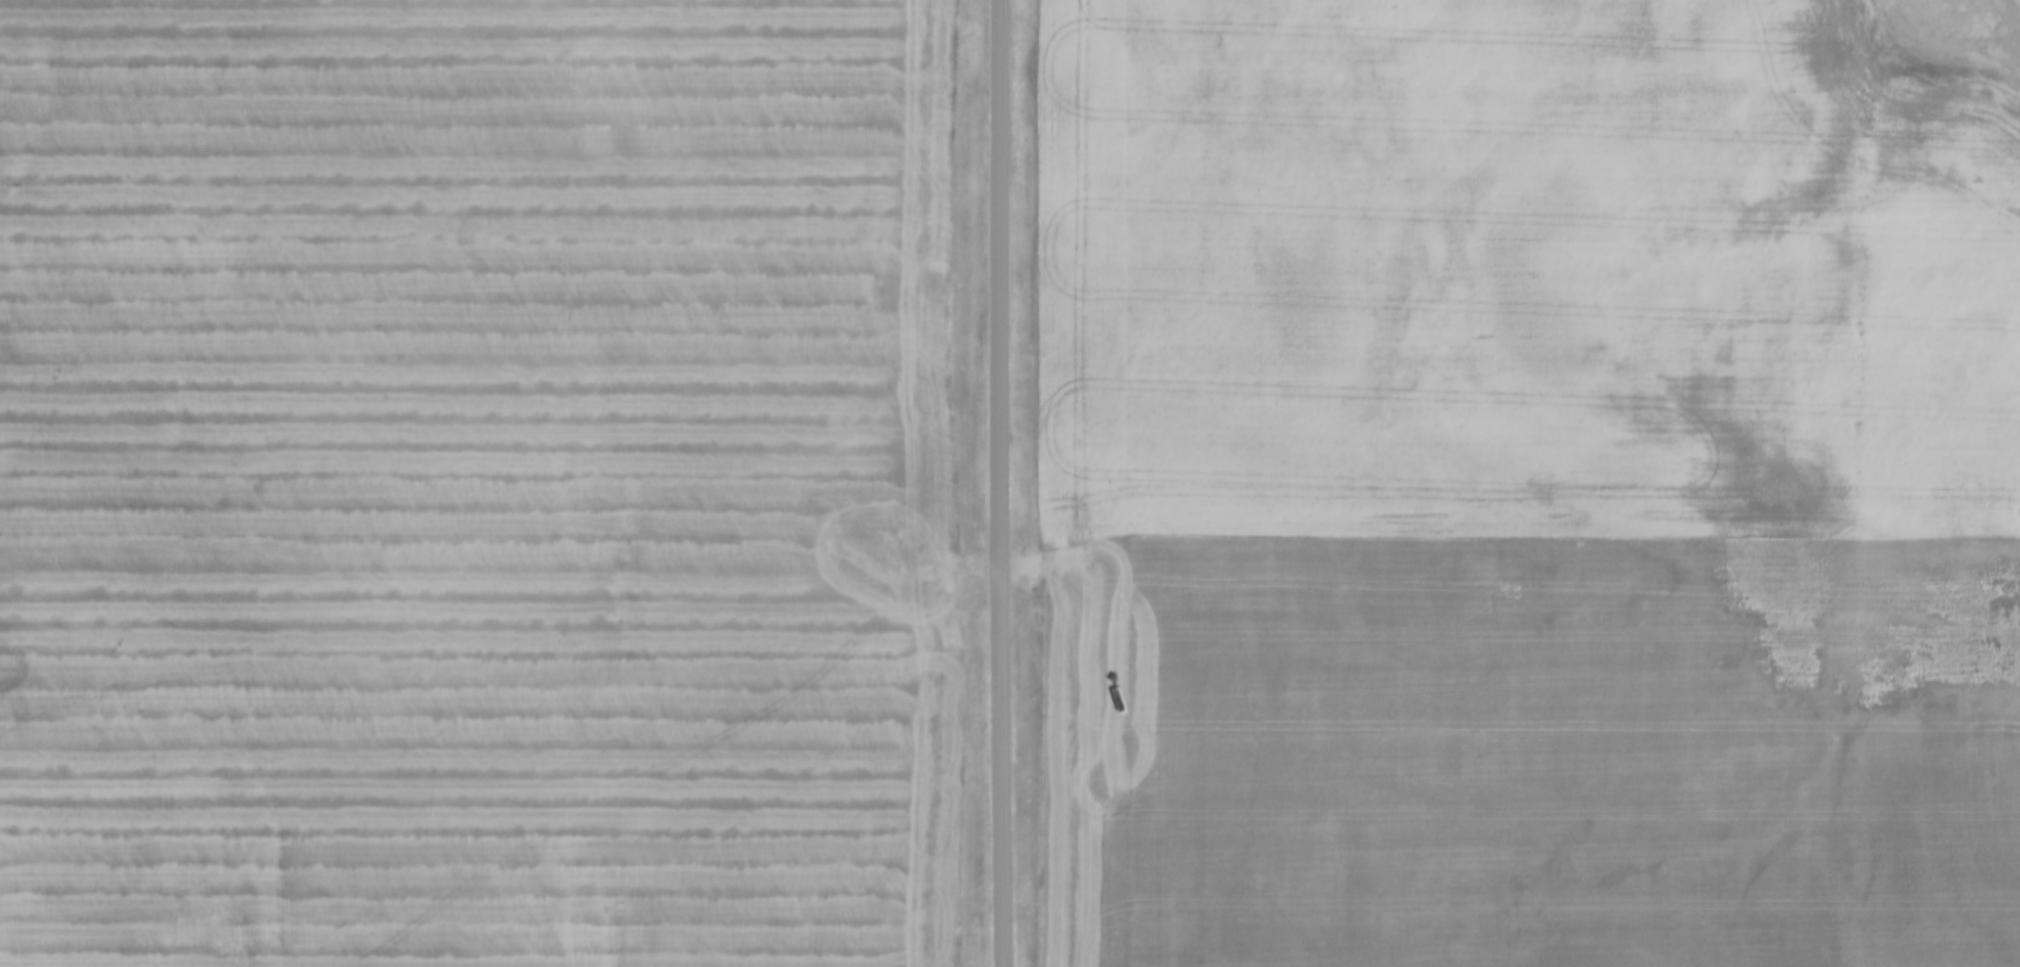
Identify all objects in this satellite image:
road: (1028, 483)

